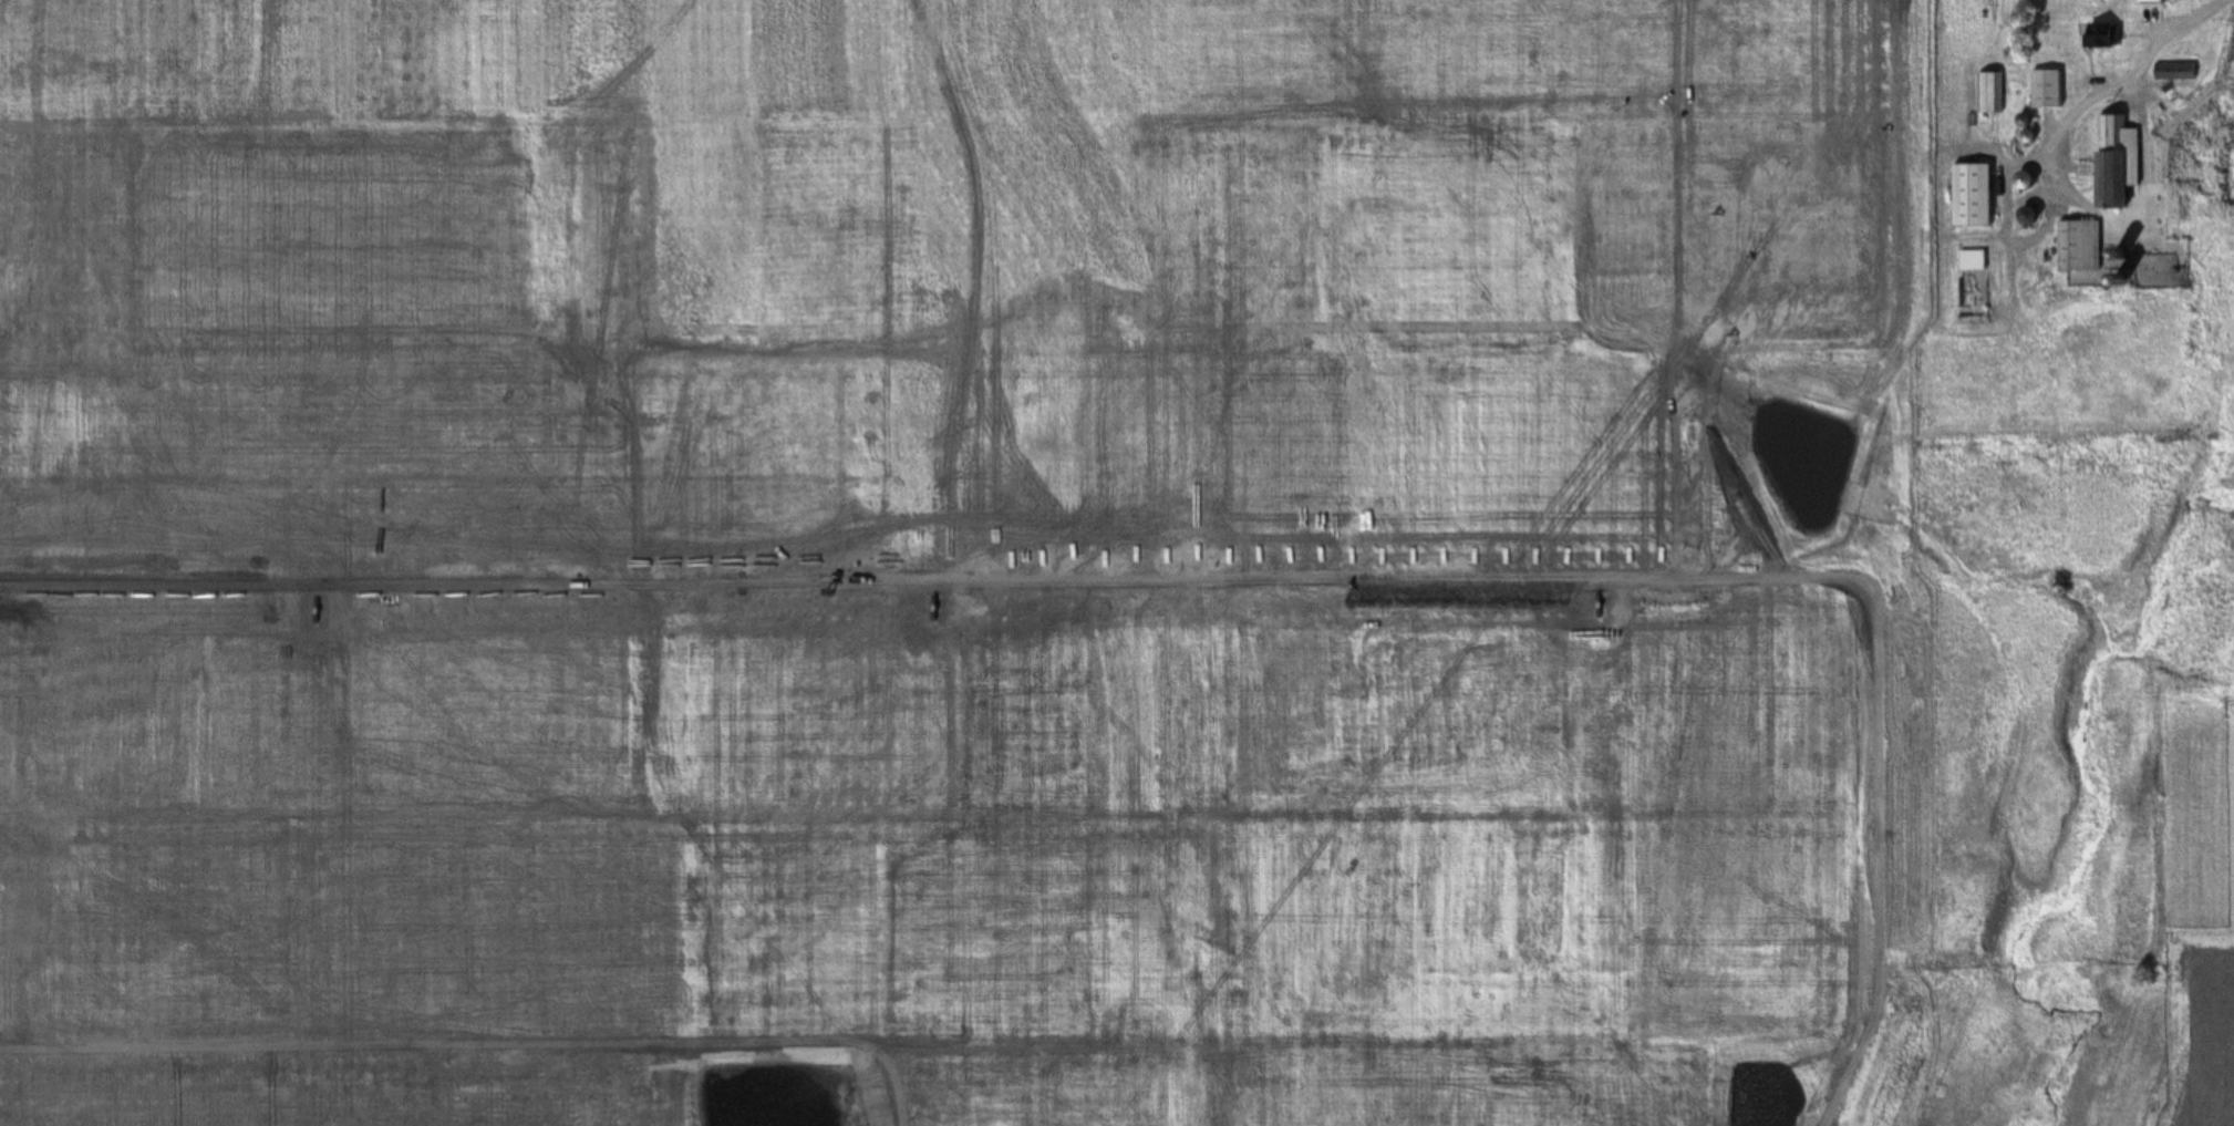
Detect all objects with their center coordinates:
building: (2152, 3)
building: (2101, 37)
road: (2170, 45)
building: (2174, 72)
building: (2047, 91)
building: (1992, 94)
building: (2113, 164)
building: (2021, 183)
building: (1971, 197)
building: (2025, 218)
building: (2077, 248)
building: (1971, 262)

